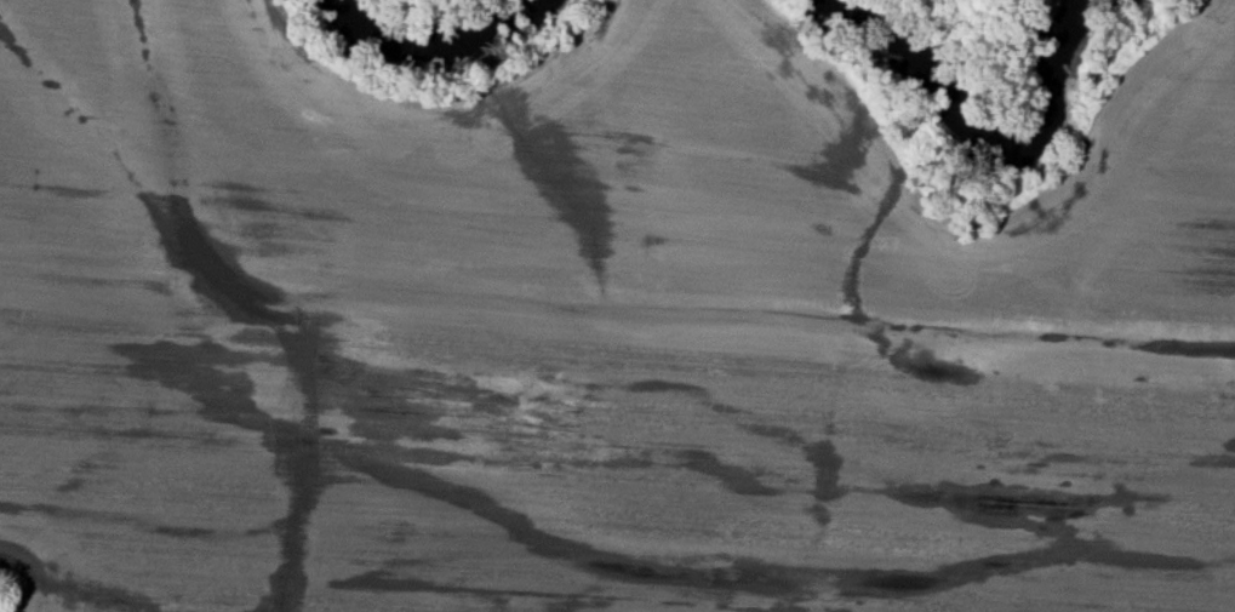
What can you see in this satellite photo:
river: (458, 23)
river: (973, 142)

